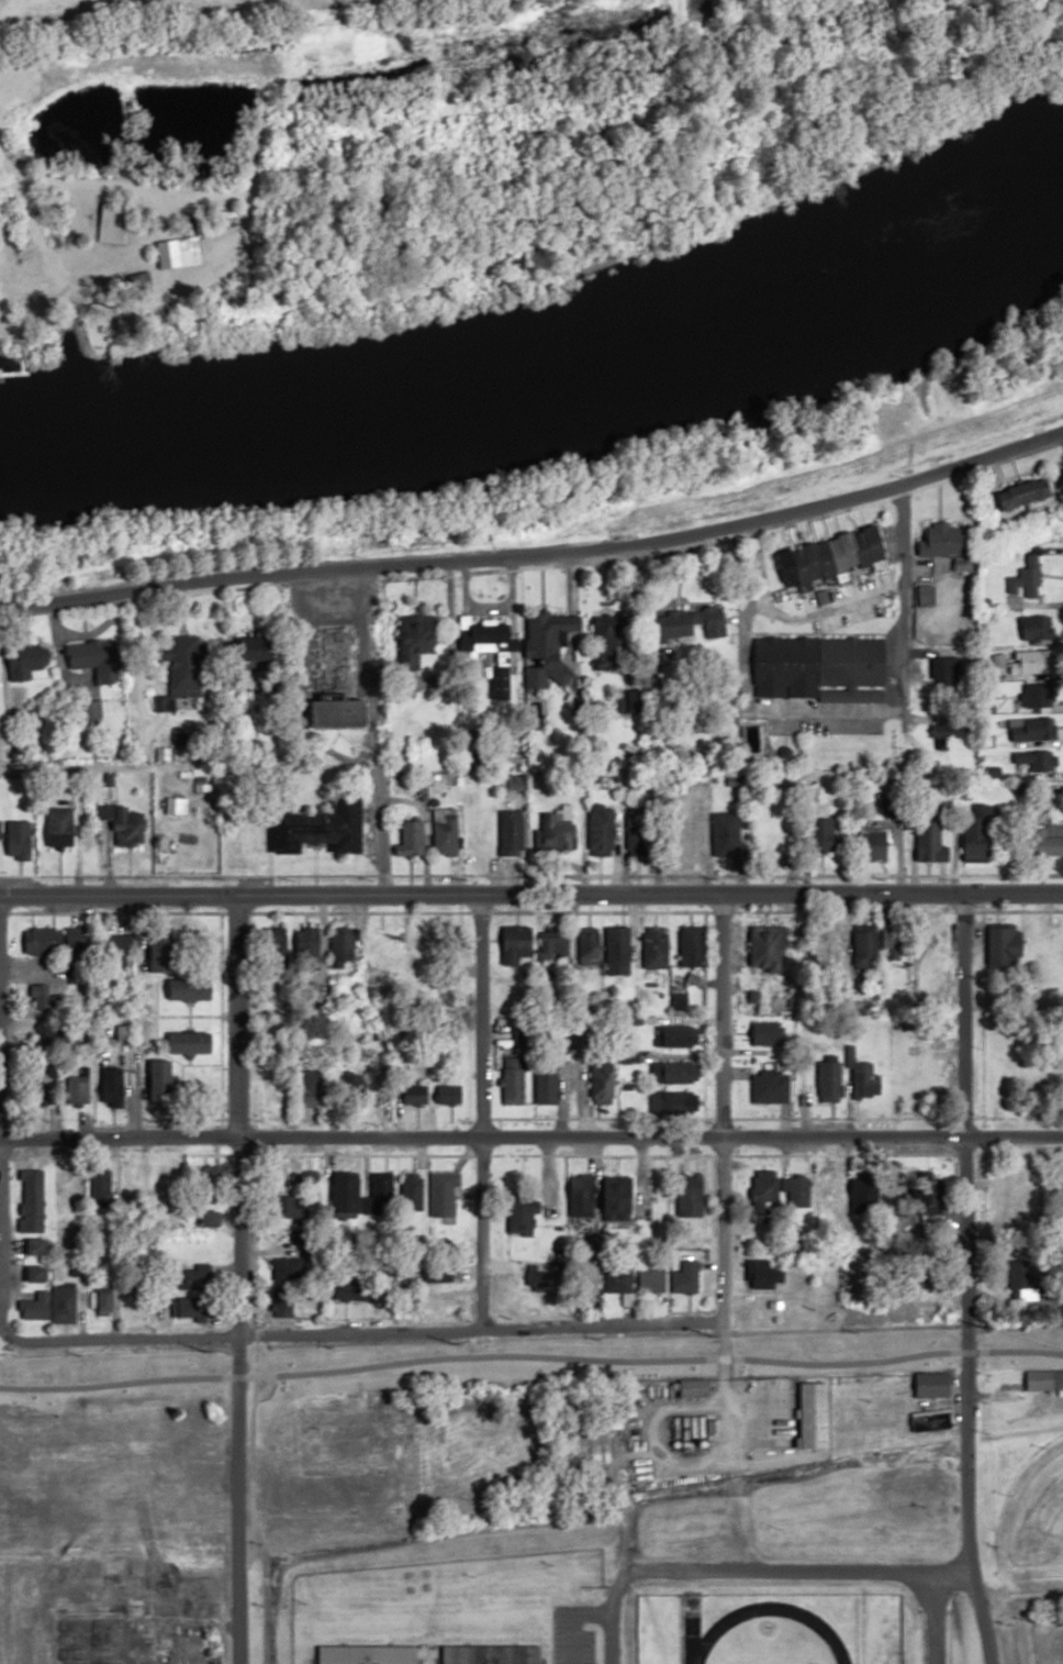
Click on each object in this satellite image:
building: (113, 215)
building: (175, 255)
building: (142, 281)
river: (546, 362)
road: (1062, 443)
building: (1030, 493)
building: (944, 541)
building: (835, 556)
road: (538, 557)
building: (1030, 578)
building: (927, 595)
road: (894, 607)
building: (690, 625)
building: (1036, 628)
building: (492, 634)
building: (421, 637)
building: (612, 642)
building: (550, 647)
building: (99, 659)
building: (29, 661)
building: (1037, 662)
building: (187, 666)
building: (821, 668)
building: (949, 673)
building: (1039, 696)
building: (1032, 729)
building: (947, 730)
building: (1034, 762)
building: (177, 806)
building: (891, 809)
building: (326, 827)
building: (60, 828)
building: (131, 828)
building: (772, 829)
building: (603, 830)
building: (447, 832)
building: (512, 833)
building: (557, 833)
building: (728, 833)
building: (978, 833)
building: (637, 835)
building: (255, 836)
building: (413, 837)
building: (833, 837)
building: (20, 840)
building: (931, 841)
building: (1048, 843)
building: (875, 844)
road: (530, 894)
building: (43, 940)
building: (310, 941)
building: (344, 942)
building: (617, 943)
building: (517, 944)
building: (556, 944)
building: (589, 944)
building: (692, 945)
building: (895, 945)
building: (656, 946)
building: (1005, 946)
building: (866, 947)
building: (118, 950)
building: (775, 950)
building: (164, 952)
building: (78, 955)
building: (194, 987)
building: (42, 995)
building: (767, 1032)
building: (676, 1035)
building: (191, 1041)
building: (672, 1072)
building: (829, 1078)
building: (862, 1078)
building: (163, 1079)
building: (514, 1079)
building: (604, 1081)
building: (355, 1084)
building: (547, 1084)
building: (113, 1086)
building: (770, 1086)
building: (312, 1091)
building: (432, 1094)
building: (673, 1101)
road: (479, 1111)
road: (235, 1113)
road: (719, 1120)
road: (531, 1136)
building: (412, 1188)
building: (381, 1190)
building: (582, 1190)
building: (444, 1192)
building: (346, 1194)
building: (691, 1195)
building: (763, 1196)
building: (618, 1200)
building: (32, 1209)
building: (211, 1218)
building: (522, 1218)
building: (37, 1273)
building: (439, 1273)
building: (763, 1274)
building: (684, 1276)
building: (191, 1279)
building: (538, 1279)
building: (617, 1279)
building: (651, 1279)
road: (964, 1279)
building: (353, 1289)
building: (105, 1300)
building: (282, 1304)
building: (49, 1305)
building: (190, 1306)
building: (440, 1306)
road: (356, 1332)
building: (1043, 1380)
building: (931, 1385)
building: (694, 1387)
building: (816, 1413)
building: (897, 1422)
building: (693, 1431)
gas station: (693, 1431)
road: (734, 1458)
road: (234, 1498)
park: (1031, 1515)
road: (749, 1572)
road: (245, 1616)
road: (929, 1618)
road: (571, 1620)
parking lot: (556, 1634)
track: (761, 1638)
park: (1051, 1642)
parking lot: (584, 1648)
building: (368, 1654)
building: (492, 1654)

